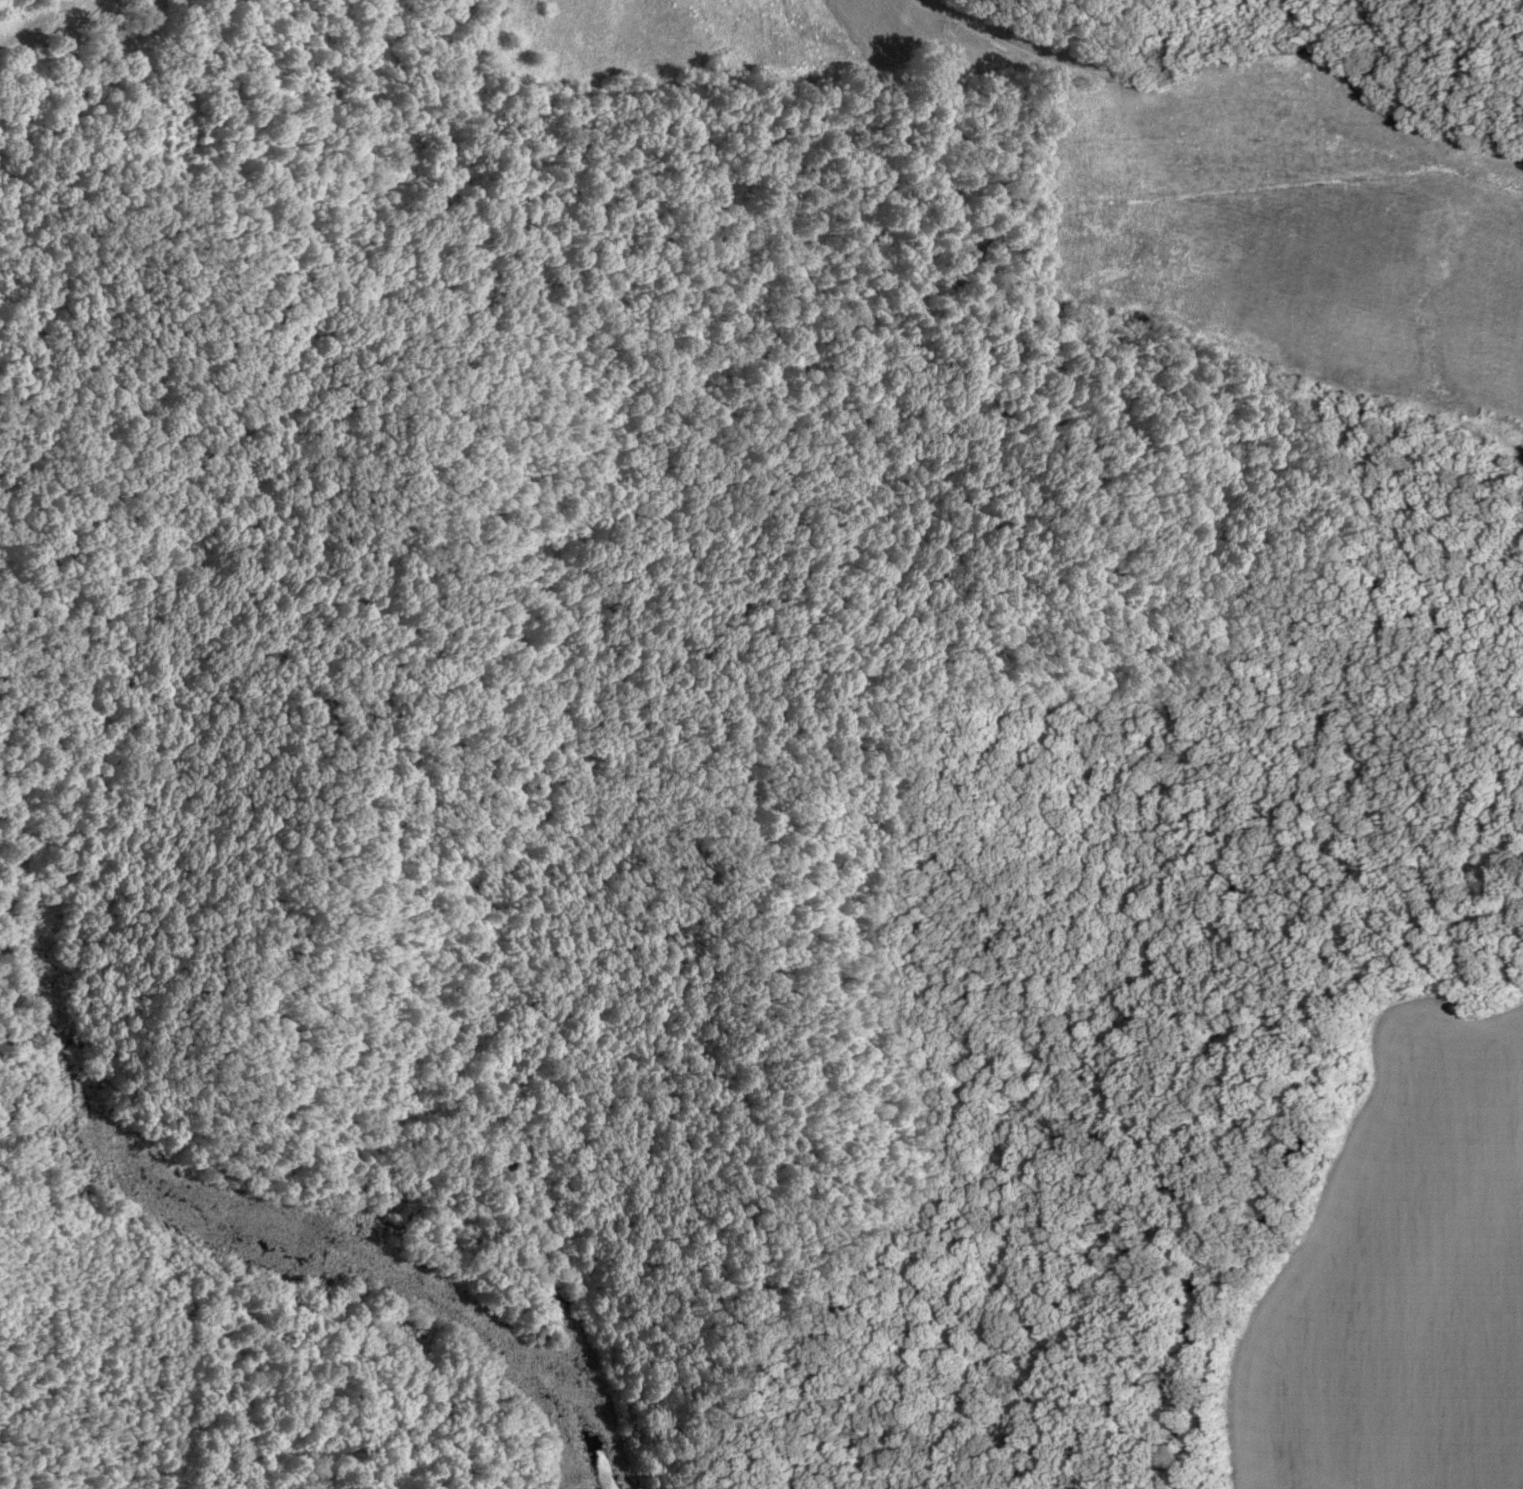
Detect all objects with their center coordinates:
road: (53, 30)
road: (995, 42)

